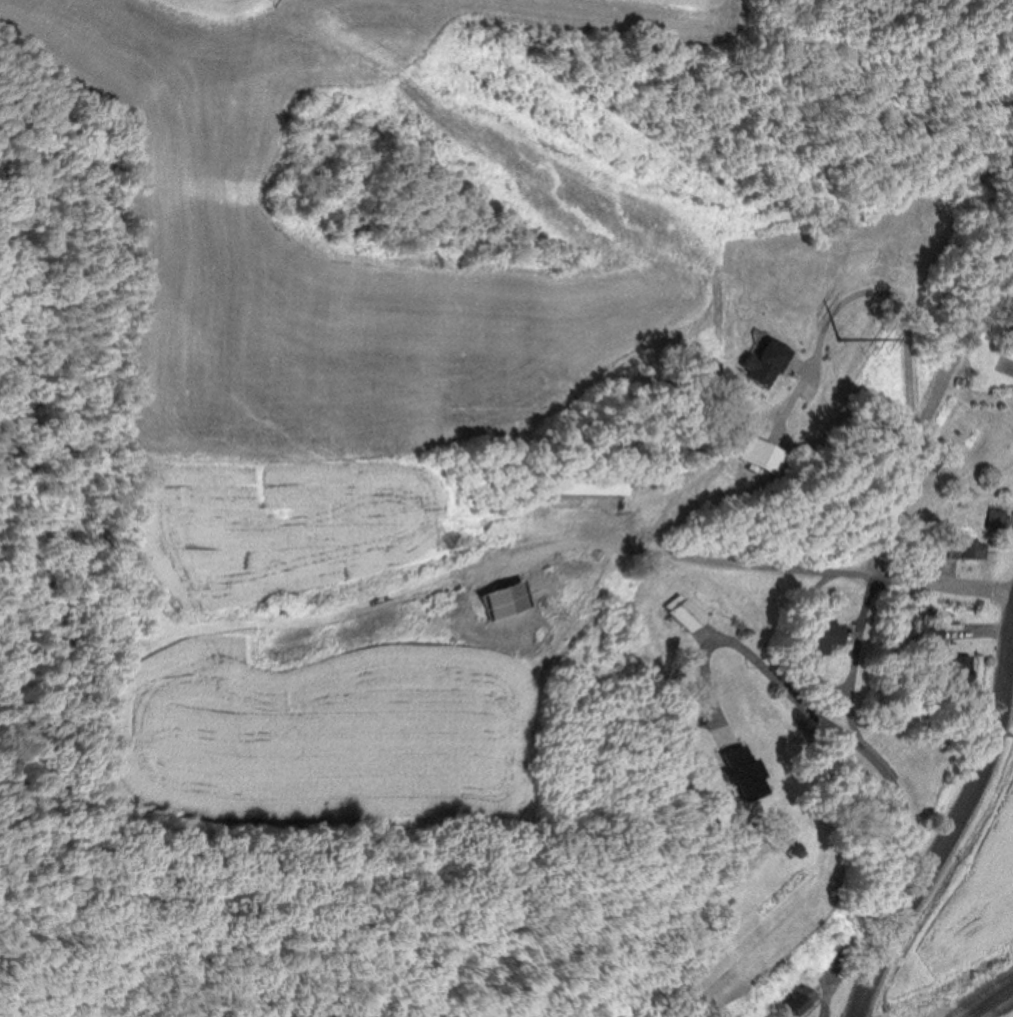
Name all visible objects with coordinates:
power tower: (844, 333)
building: (771, 363)
building: (768, 457)
building: (592, 488)
road: (904, 489)
building: (998, 517)
building: (971, 550)
road: (737, 565)
building: (689, 611)
building: (824, 636)
road: (804, 639)
road: (766, 664)
building: (960, 667)
road: (874, 740)
building: (750, 771)
road: (956, 824)
building: (806, 1000)
railway: (991, 1003)

